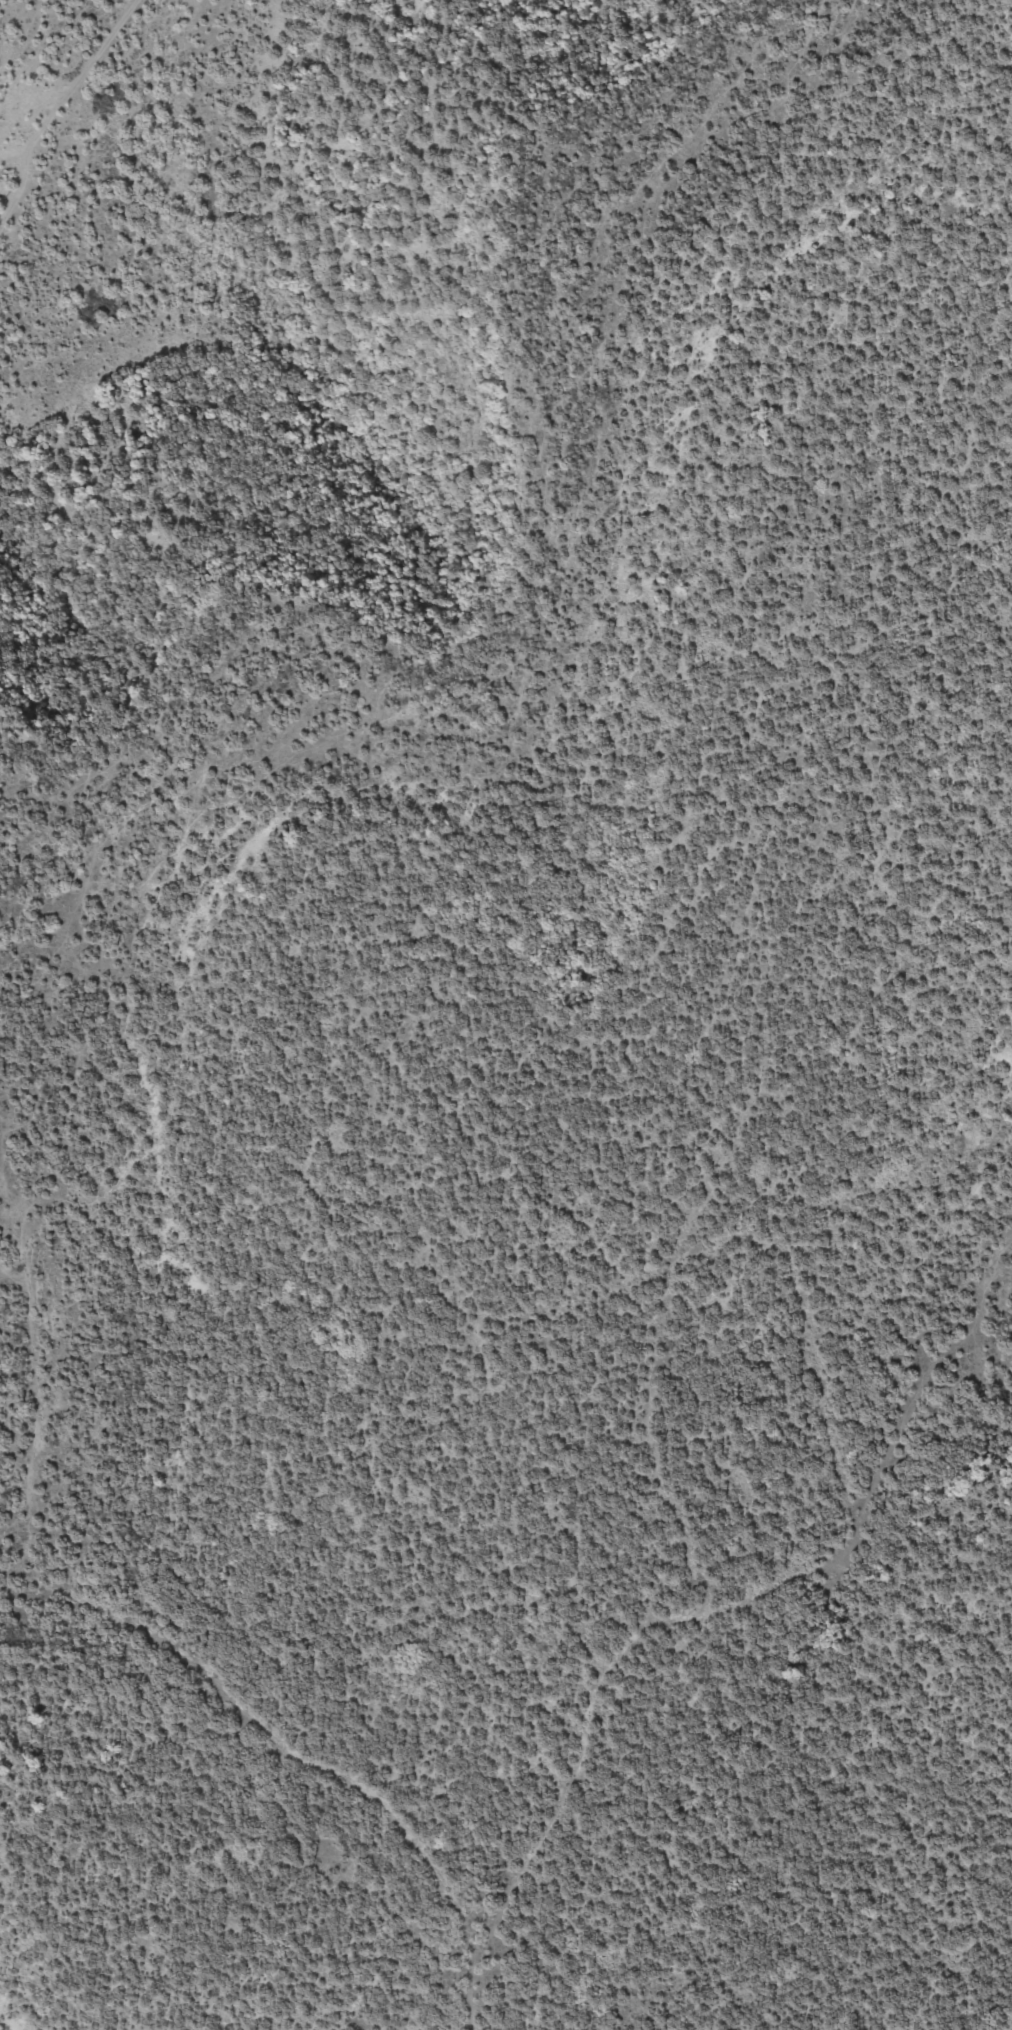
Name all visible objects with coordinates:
road: (71, 90)

